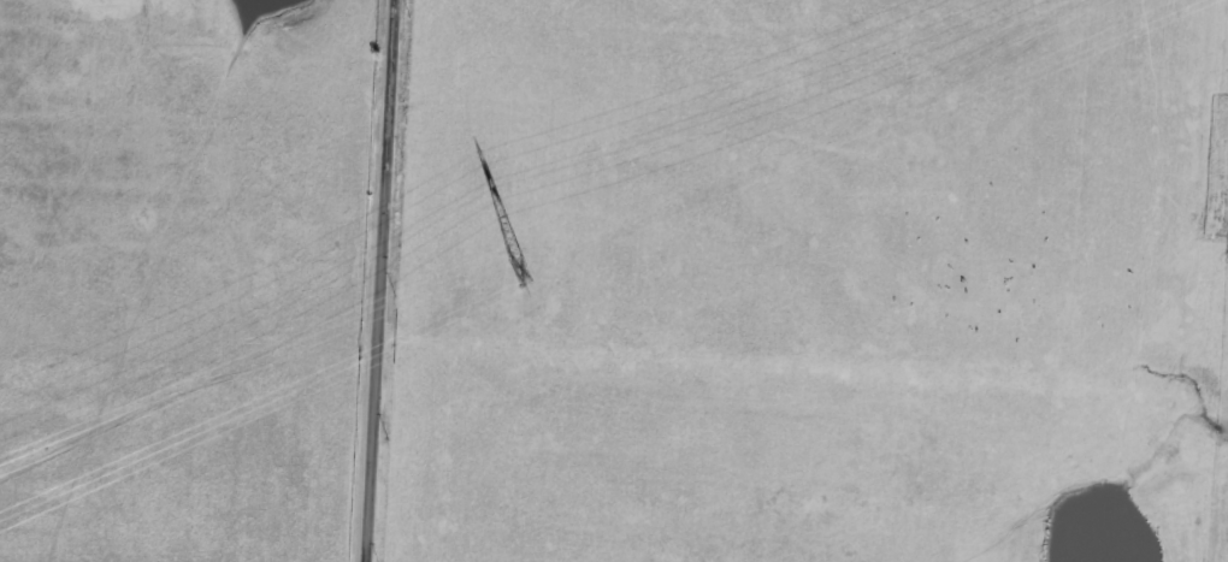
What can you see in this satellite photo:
power tower: (521, 268)
road: (377, 280)

